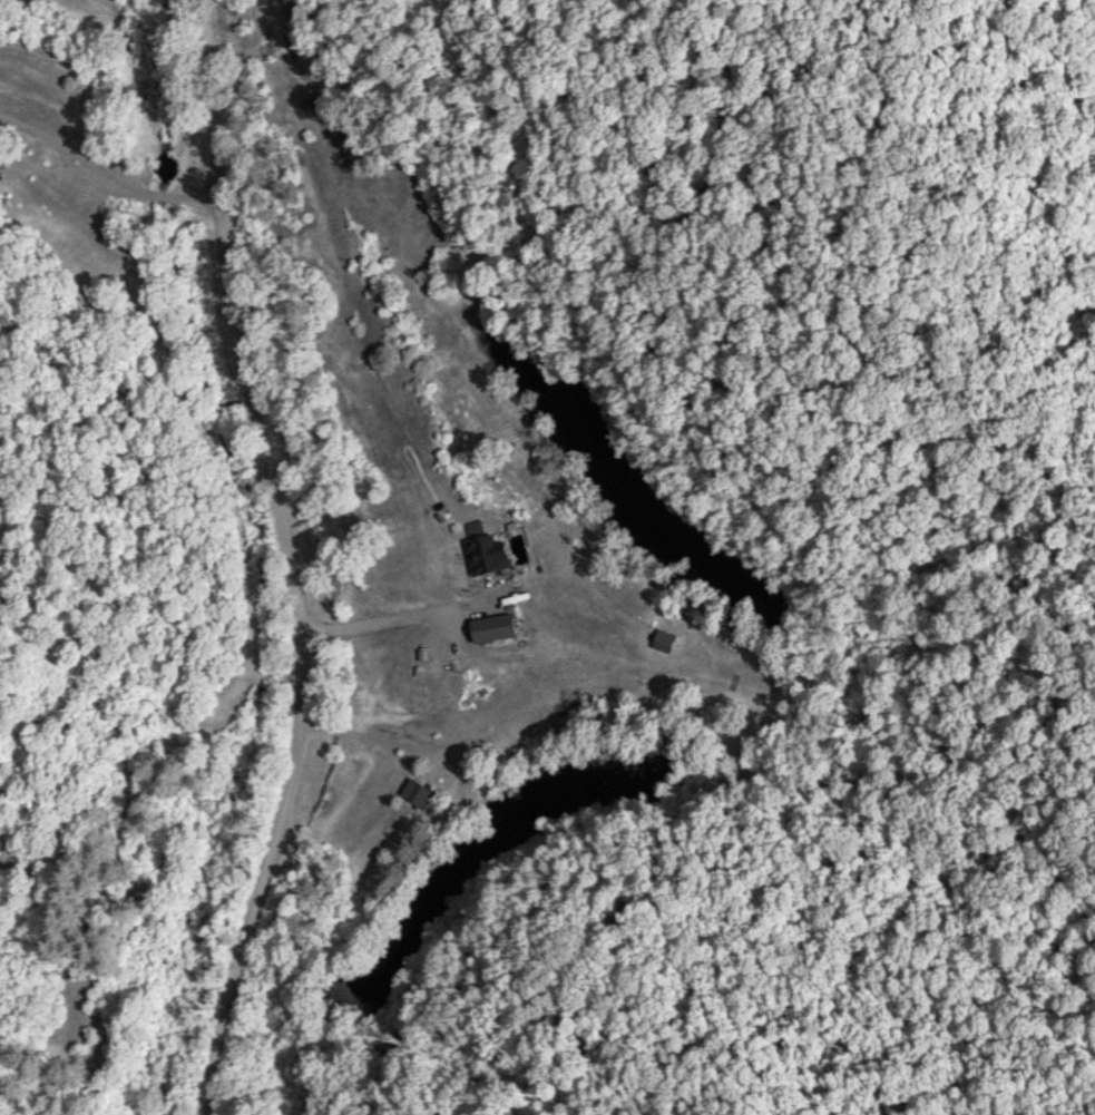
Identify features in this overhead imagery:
road: (111, 245)
building: (491, 552)
road: (285, 556)
building: (499, 624)
building: (666, 637)
building: (419, 789)

